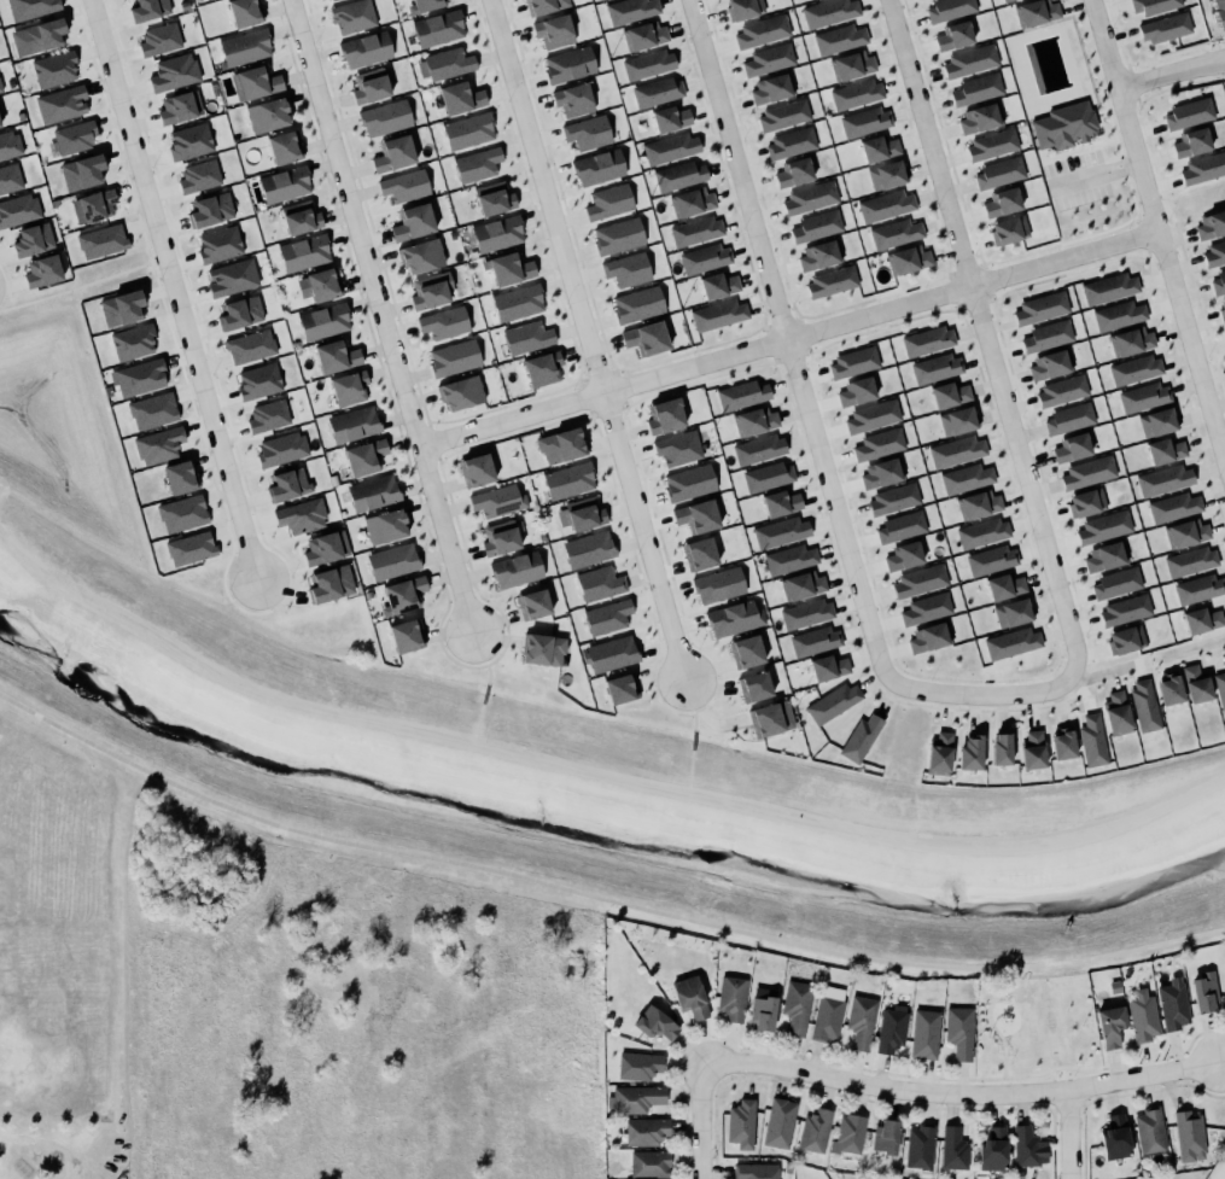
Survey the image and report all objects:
building: (332, 0)
building: (1003, 0)
building: (1005, 0)
building: (424, 5)
building: (542, 5)
building: (1151, 6)
building: (30, 8)
building: (742, 8)
building: (949, 8)
building: (1218, 8)
building: (148, 10)
building: (629, 10)
building: (241, 12)
building: (829, 12)
building: (1036, 12)
building: (350, 14)
building: (1162, 25)
building: (437, 27)
building: (760, 30)
building: (554, 31)
building: (642, 34)
building: (43, 35)
building: (955, 36)
building: (838, 37)
building: (159, 40)
building: (243, 46)
building: (366, 49)
road: (1091, 58)
building: (769, 59)
building: (968, 60)
building: (646, 63)
building: (445, 64)
building: (570, 64)
building: (851, 64)
building: (54, 69)
building: (171, 70)
road: (1171, 72)
building: (255, 81)
building: (368, 84)
building: (771, 87)
building: (0, 88)
building: (975, 88)
building: (655, 91)
building: (856, 93)
building: (461, 98)
building: (573, 100)
building: (62, 104)
building: (180, 107)
road: (1093, 109)
road: (1101, 110)
building: (266, 113)
building: (1188, 113)
building: (383, 116)
building: (783, 116)
building: (669, 117)
building: (979, 117)
building: (863, 119)
building: (1062, 123)
road: (1110, 124)
building: (0, 126)
park: (1072, 129)
building: (468, 130)
building: (70, 132)
building: (588, 133)
building: (189, 141)
road: (1098, 141)
road: (929, 142)
road: (1083, 142)
building: (1191, 142)
building: (789, 144)
building: (990, 144)
building: (10, 145)
building: (285, 147)
building: (879, 147)
building: (671, 148)
road: (1084, 148)
road: (1118, 148)
building: (391, 152)
road: (1042, 152)
road: (1062, 152)
road: (1042, 160)
building: (477, 164)
building: (81, 165)
road: (1122, 165)
building: (597, 167)
building: (1202, 169)
building: (998, 171)
building: (793, 173)
building: (677, 174)
road: (1095, 174)
building: (887, 175)
building: (198, 176)
building: (10, 179)
parking lot: (1077, 179)
building: (285, 185)
building: (403, 185)
road: (1131, 193)
building: (810, 198)
building: (494, 199)
building: (606, 199)
building: (690, 200)
building: (999, 202)
building: (885, 205)
building: (93, 206)
building: (18, 210)
building: (211, 210)
building: (298, 216)
road: (1138, 217)
building: (412, 221)
building: (1209, 224)
building: (817, 226)
road: (1159, 228)
building: (1007, 229)
building: (496, 230)
building: (696, 230)
building: (894, 232)
building: (618, 235)
building: (33, 239)
building: (101, 241)
road: (1061, 243)
building: (218, 244)
road: (146, 247)
building: (304, 252)
building: (818, 253)
building: (1214, 253)
building: (419, 255)
building: (706, 258)
building: (906, 258)
building: (507, 263)
road: (152, 265)
road: (161, 265)
building: (626, 269)
building: (42, 272)
road: (156, 278)
building: (232, 278)
building: (830, 280)
building: (717, 282)
building: (1218, 282)
building: (321, 284)
road: (175, 287)
building: (1108, 287)
road: (76, 290)
building: (427, 291)
building: (515, 298)
road: (5, 303)
building: (636, 303)
building: (122, 308)
building: (1038, 308)
building: (1220, 309)
building: (240, 313)
building: (1116, 314)
building: (719, 315)
road: (381, 316)
building: (322, 320)
building: (443, 321)
building: (525, 333)
building: (1045, 335)
building: (1224, 335)
building: (643, 337)
road: (789, 339)
road: (588, 340)
building: (928, 340)
building: (1128, 340)
road: (788, 342)
building: (133, 343)
building: (250, 346)
building: (334, 356)
building: (453, 356)
building: (852, 361)
building: (932, 366)
building: (1049, 366)
building: (541, 367)
building: (1133, 369)
building: (139, 378)
building: (258, 381)
building: (348, 386)
building: (854, 390)
building: (1062, 390)
building: (459, 391)
building: (950, 393)
building: (742, 395)
building: (1144, 397)
park: (87, 398)
building: (153, 410)
building: (663, 414)
building: (1067, 414)
building: (268, 416)
building: (873, 416)
building: (753, 420)
building: (957, 420)
building: (351, 422)
building: (1155, 422)
building: (560, 444)
building: (879, 444)
building: (158, 445)
building: (1069, 446)
building: (678, 448)
building: (282, 449)
building: (759, 449)
building: (1163, 449)
building: (957, 451)
building: (362, 455)
building: (476, 469)
building: (880, 472)
building: (1086, 472)
building: (765, 475)
building: (180, 477)
building: (964, 477)
building: (567, 479)
building: (686, 479)
building: (1162, 479)
building: (288, 484)
building: (372, 491)
building: (892, 498)
building: (496, 501)
building: (780, 502)
building: (1084, 502)
building: (976, 503)
building: (1172, 506)
building: (694, 510)
building: (182, 513)
building: (299, 513)
building: (581, 514)
building: (384, 525)
building: (899, 526)
building: (1102, 526)
building: (778, 531)
building: (981, 531)
building: (1184, 532)
building: (498, 538)
building: (191, 548)
building: (326, 548)
building: (587, 548)
building: (699, 554)
building: (903, 555)
building: (1104, 555)
building: (788, 558)
building: (990, 559)
building: (391, 560)
building: (1189, 561)
building: (517, 570)
road: (1052, 571)
building: (327, 578)
building: (918, 579)
building: (1115, 582)
building: (600, 583)
building: (801, 584)
building: (1003, 584)
building: (719, 585)
building: (1197, 588)
building: (403, 595)
building: (532, 603)
building: (923, 607)
building: (1122, 608)
building: (606, 612)
building: (1013, 612)
building: (805, 613)
building: (734, 618)
building: (1200, 618)
building: (404, 635)
building: (926, 636)
building: (1124, 638)
building: (816, 641)
building: (1013, 643)
building: (541, 647)
road: (1192, 648)
building: (607, 649)
building: (745, 650)
road: (497, 655)
road: (456, 661)
building: (829, 667)
road: (489, 673)
road: (1103, 673)
building: (1195, 683)
building: (754, 687)
building: (620, 688)
building: (1168, 689)
building: (1219, 690)
road: (484, 693)
building: (832, 701)
building: (1143, 705)
road: (663, 706)
road: (700, 710)
building: (1115, 713)
building: (769, 717)
road: (477, 720)
road: (694, 720)
building: (858, 737)
road: (693, 740)
building: (1091, 740)
building: (1062, 743)
building: (999, 748)
building: (970, 751)
building: (1033, 751)
building: (939, 753)
road: (689, 769)
road: (595, 770)
road: (599, 899)
building: (1202, 993)
building: (690, 997)
building: (733, 998)
building: (1172, 1003)
building: (797, 1006)
building: (763, 1012)
road: (988, 1012)
building: (828, 1014)
building: (1142, 1016)
building: (859, 1020)
building: (655, 1023)
building: (1109, 1026)
building: (891, 1027)
park: (1034, 1029)
building: (957, 1031)
building: (923, 1033)
building: (638, 1066)
road: (1055, 1067)
road: (985, 1078)
road: (961, 1097)
building: (635, 1098)
road: (702, 1121)
building: (778, 1122)
building: (741, 1123)
building: (813, 1130)
building: (1149, 1130)
building: (644, 1131)
building: (848, 1134)
building: (885, 1136)
road: (1066, 1136)
building: (1189, 1136)
building: (1114, 1137)
building: (918, 1145)
building: (1023, 1145)
building: (952, 1148)
building: (991, 1149)
building: (649, 1163)
building: (756, 1171)

